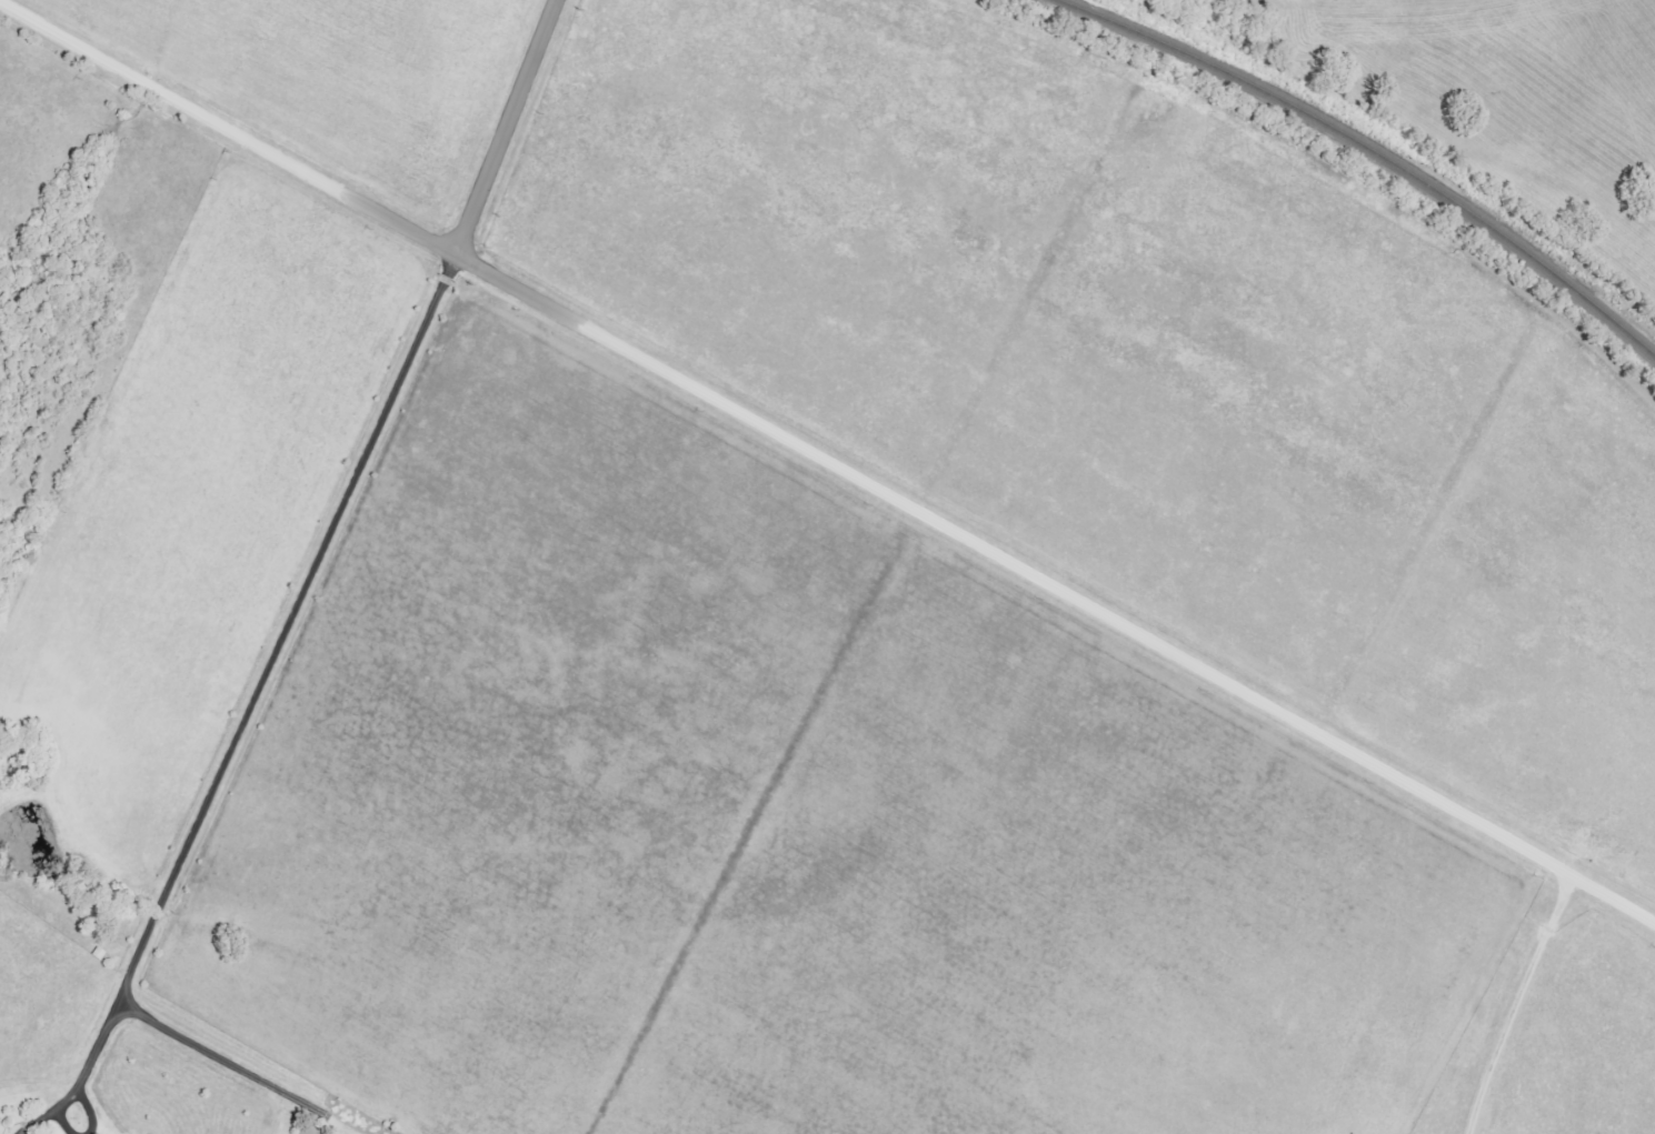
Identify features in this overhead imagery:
road: (501, 128)
railway: (1373, 151)
road: (827, 463)
road: (261, 678)
road: (1512, 1003)
road: (241, 1071)

